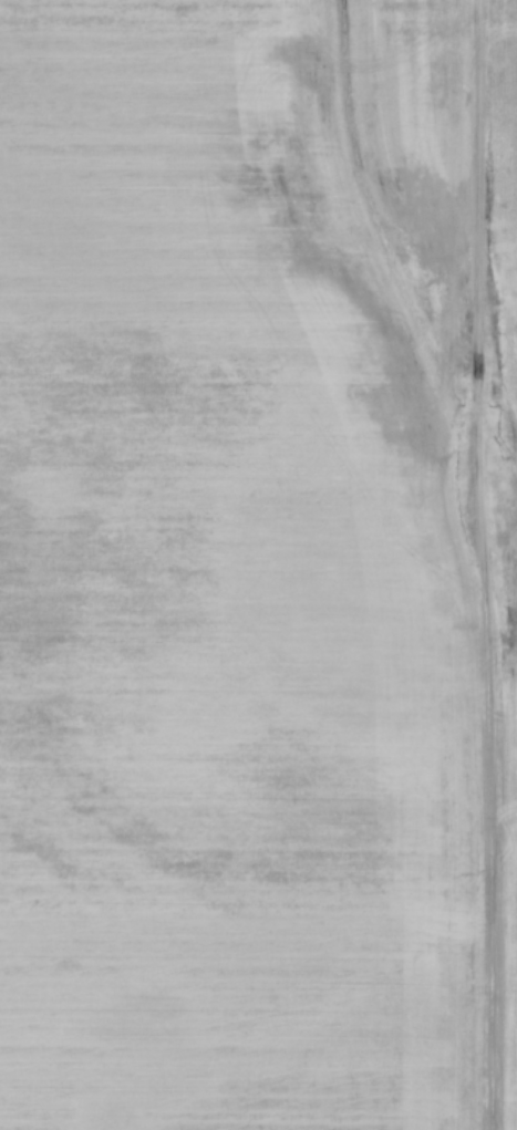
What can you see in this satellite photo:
road: (471, 564)

